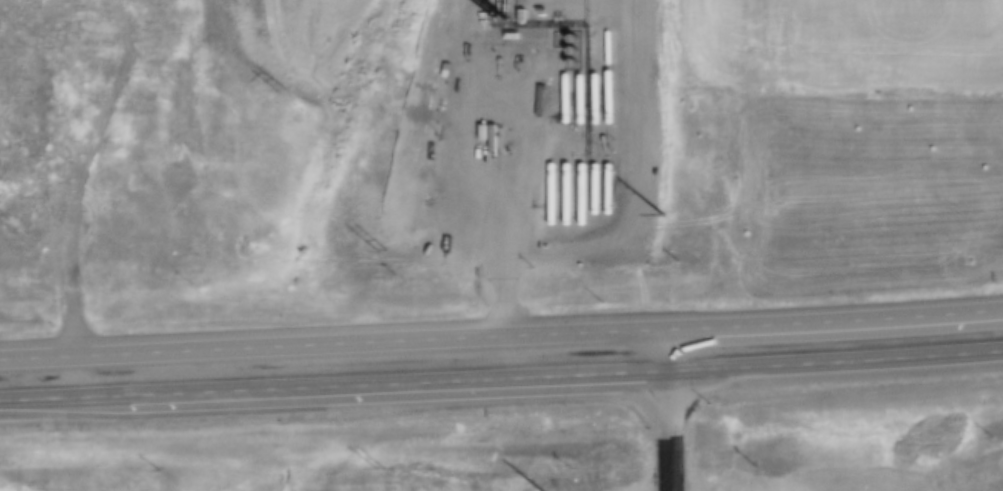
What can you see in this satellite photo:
road: (51, 25)
building: (101, 49)
building: (44, 86)
road: (84, 162)
building: (18, 165)
power tower: (662, 213)
road: (838, 321)
road: (499, 339)
road: (162, 351)
road: (839, 360)
road: (500, 378)
road: (162, 393)
road: (675, 411)

